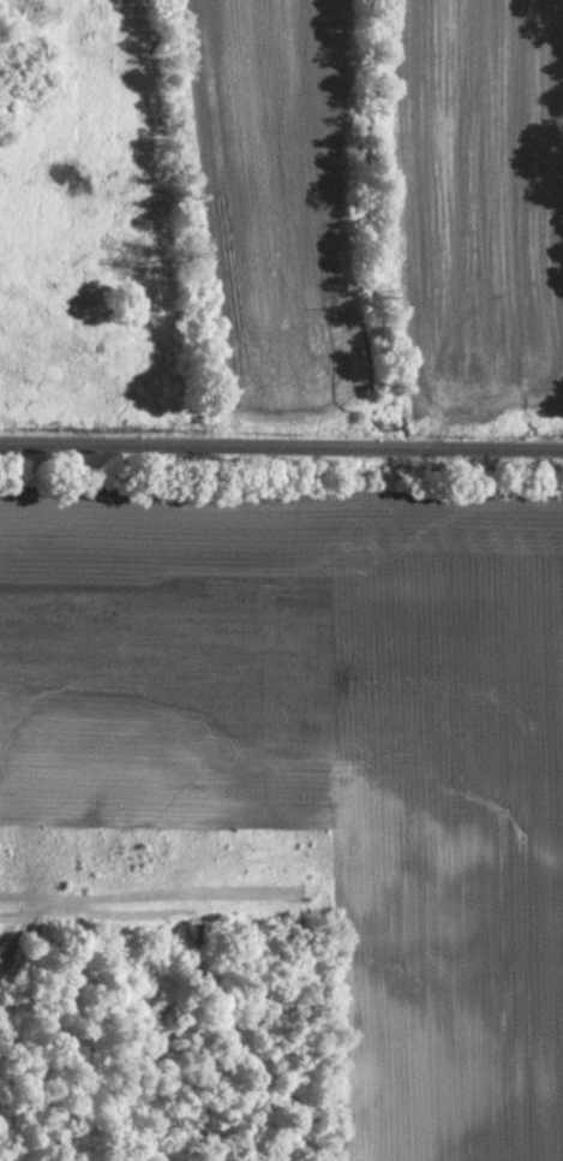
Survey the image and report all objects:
road: (281, 452)

